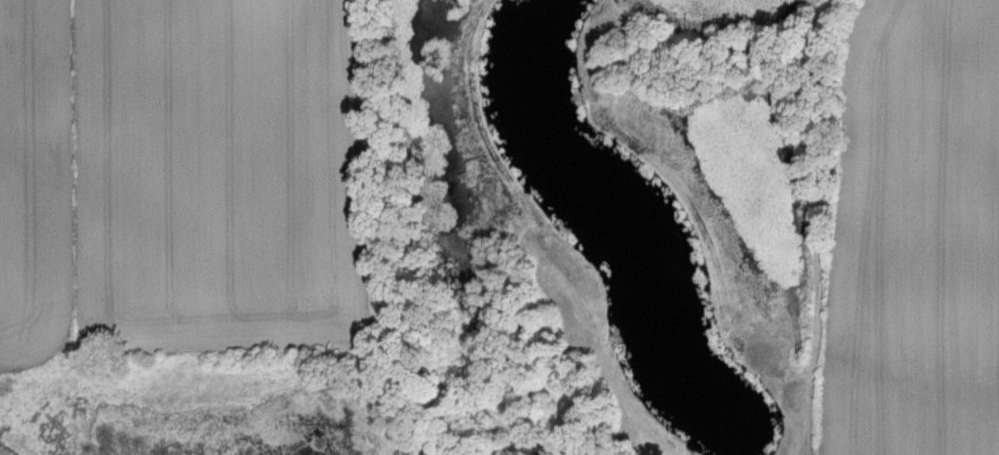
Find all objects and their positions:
road: (814, 225)
road: (510, 436)

